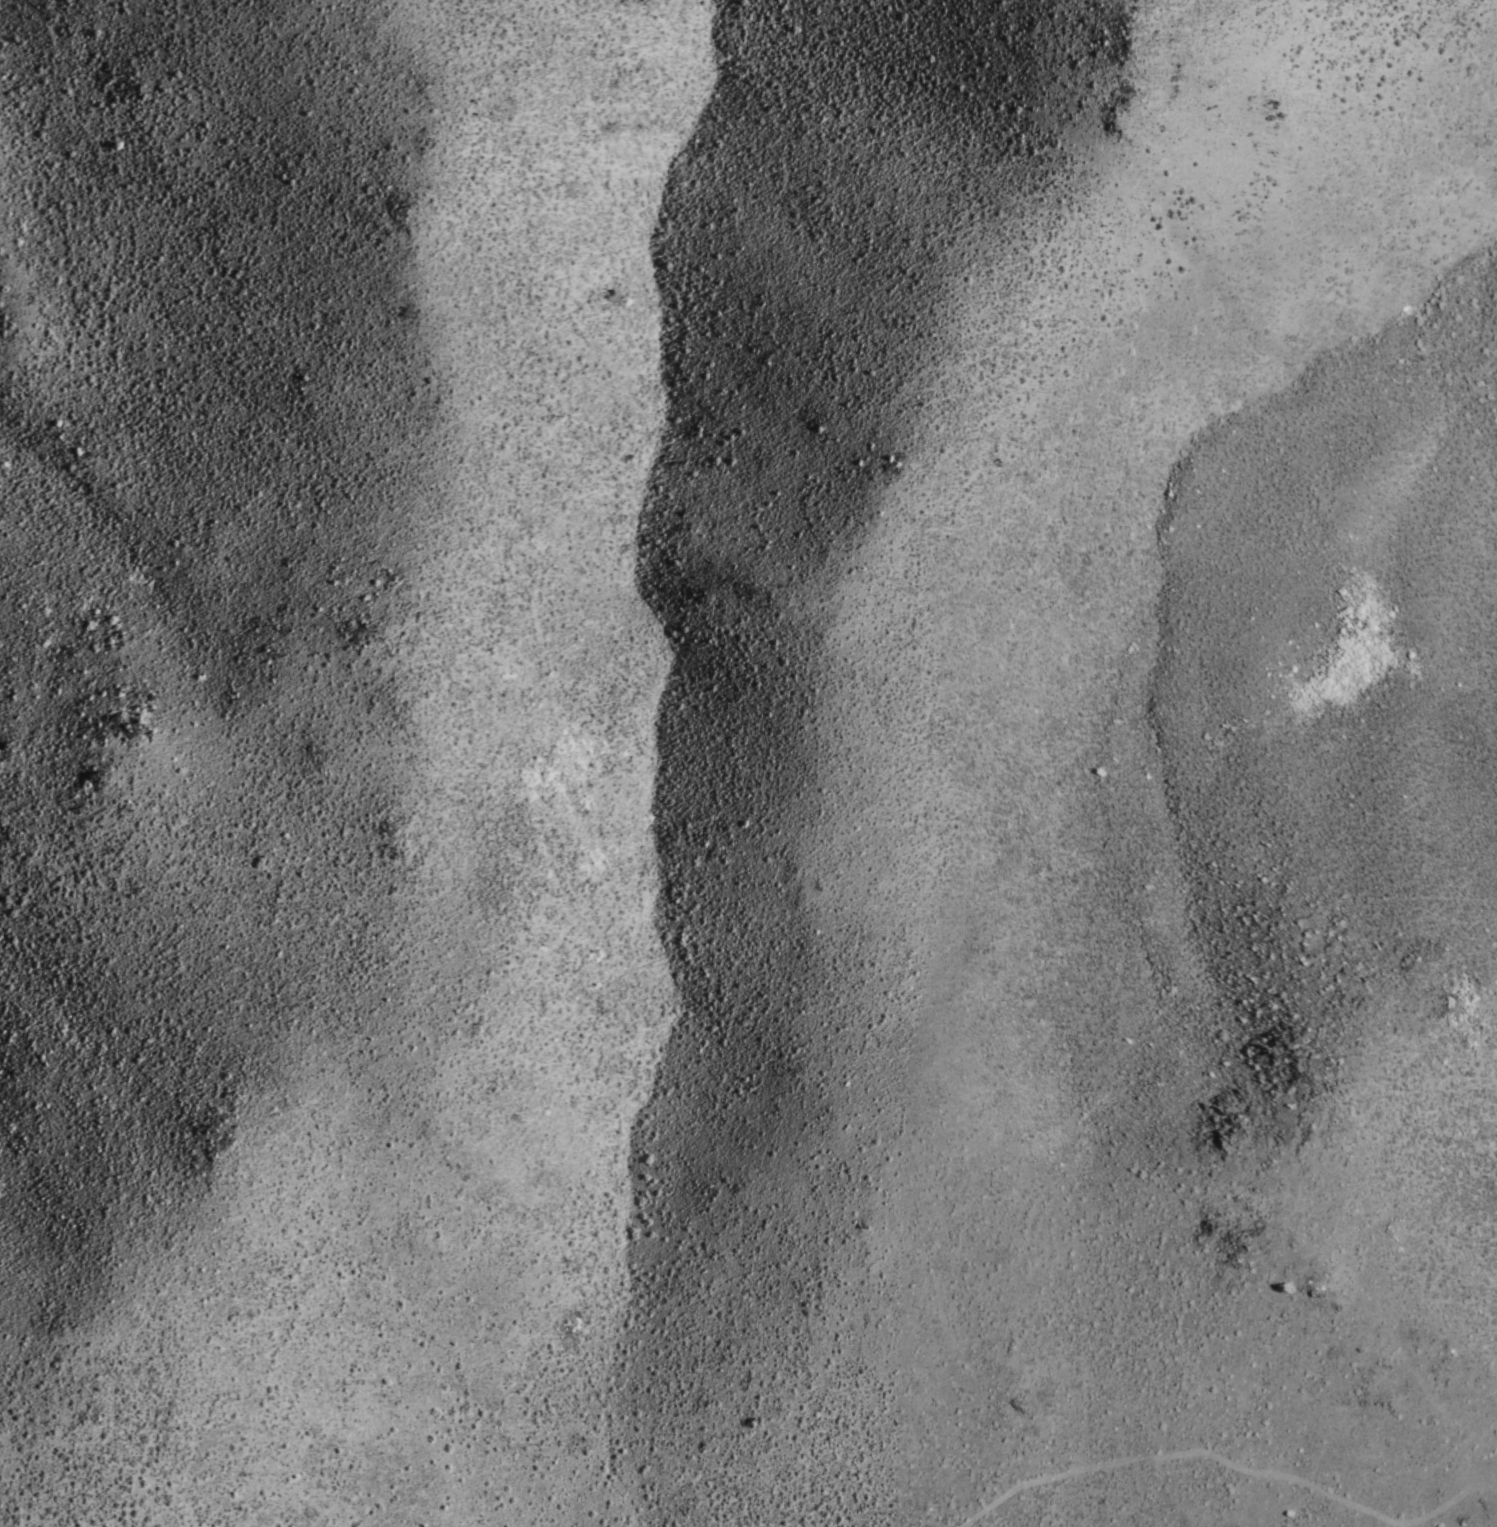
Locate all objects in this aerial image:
road: (1227, 1459)

